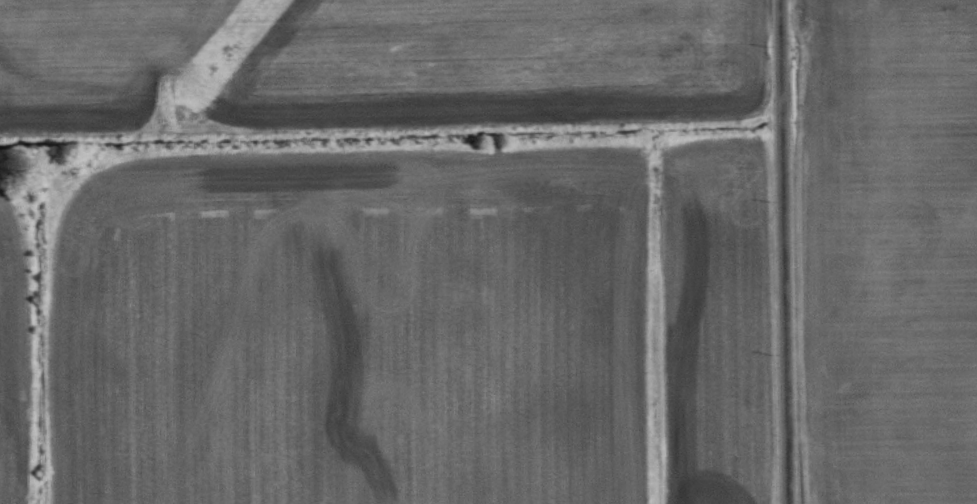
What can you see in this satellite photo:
road: (782, 252)

